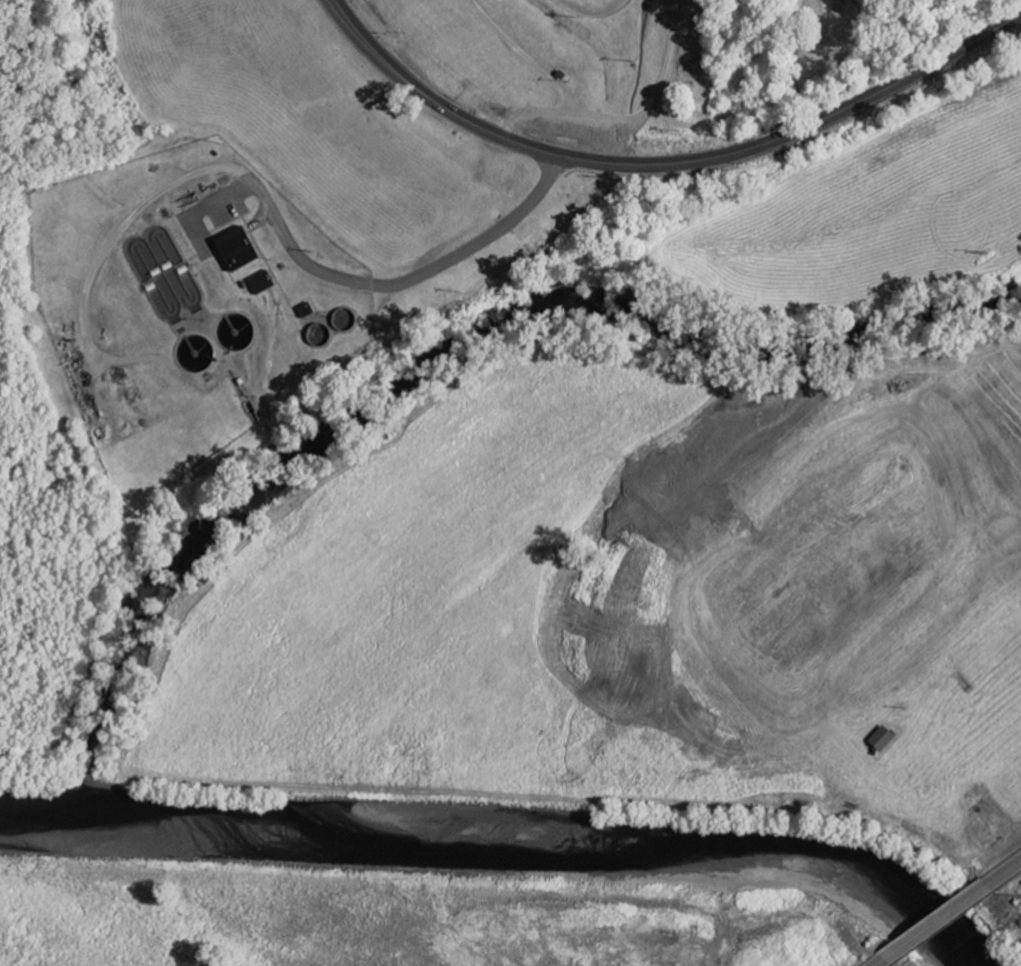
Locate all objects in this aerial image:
park: (761, 55)
road: (789, 64)
road: (620, 120)
road: (666, 163)
building: (242, 250)
building: (264, 283)
building: (308, 312)
building: (885, 740)
river: (519, 828)
road: (1005, 873)
road: (937, 923)
road: (881, 963)

